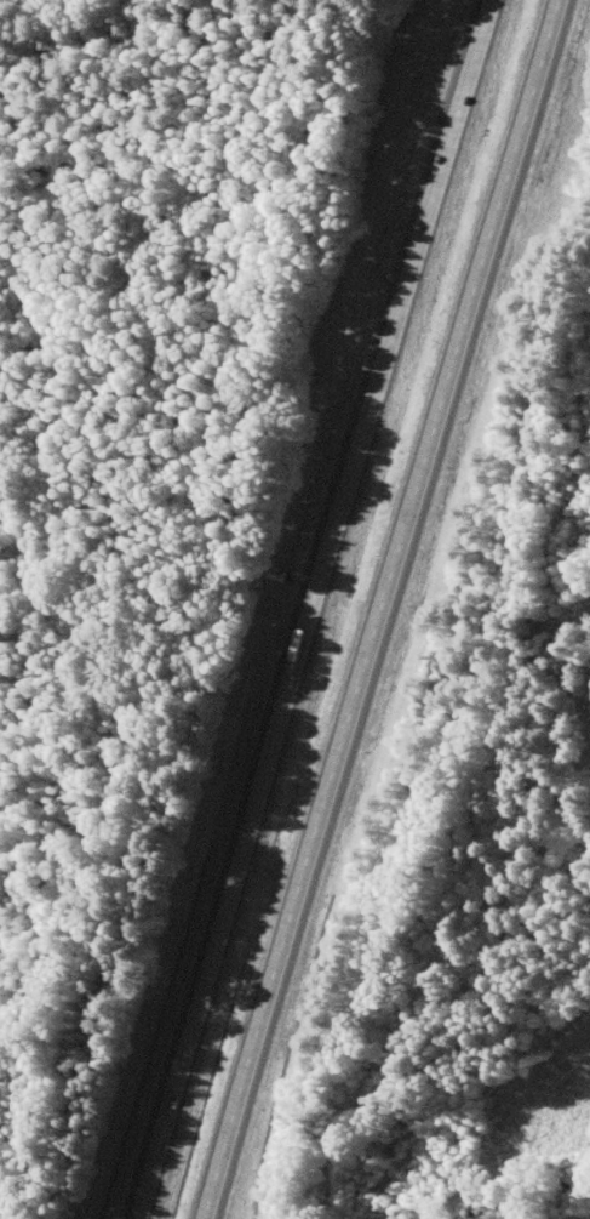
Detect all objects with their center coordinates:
road: (302, 609)
road: (370, 609)

